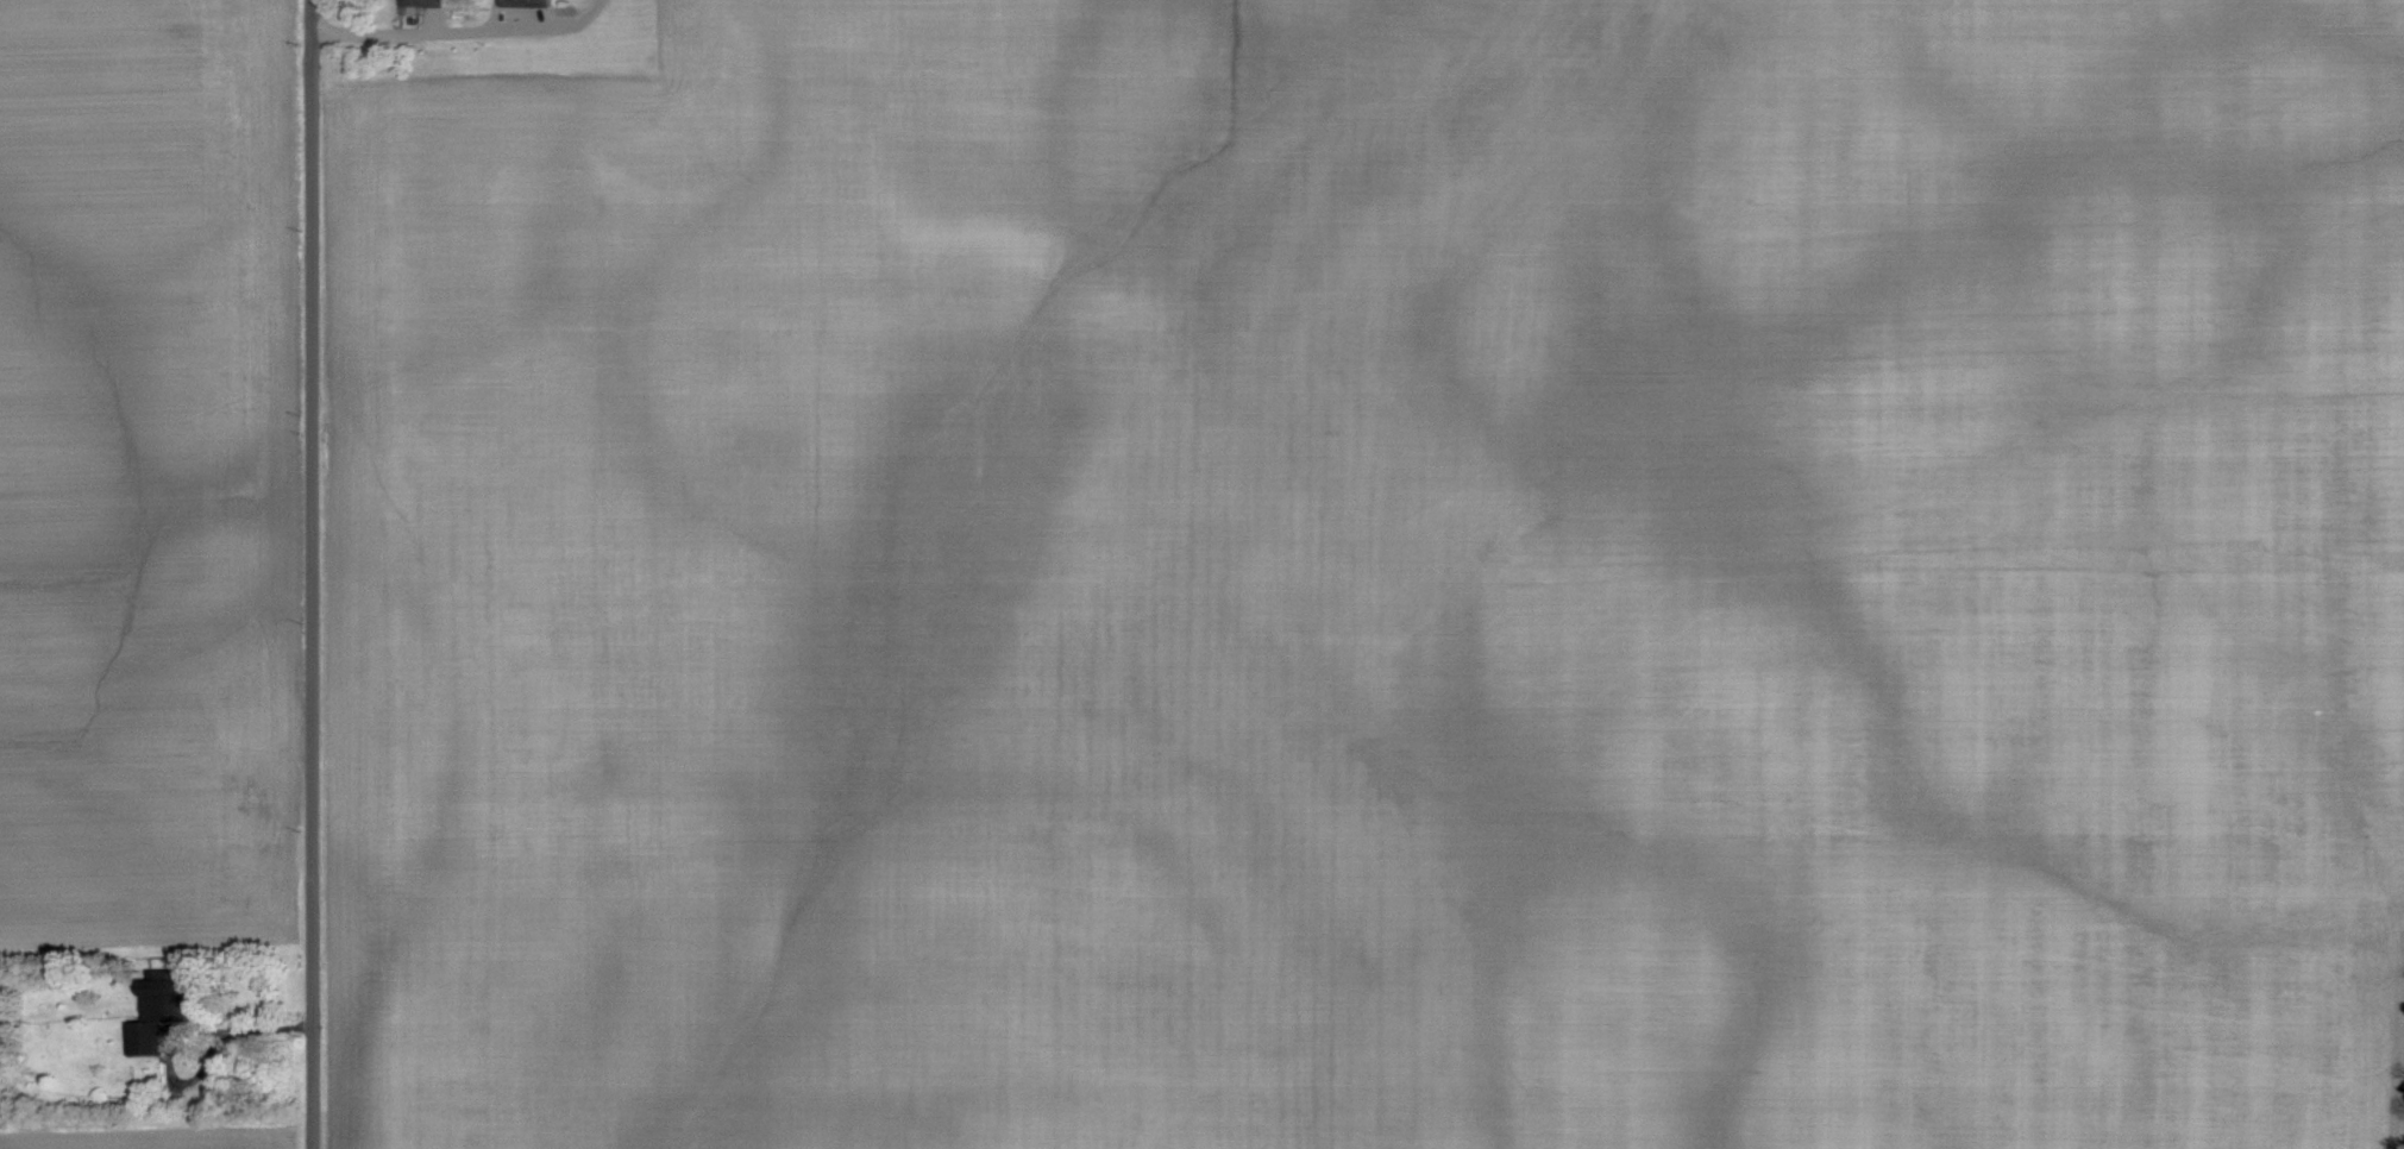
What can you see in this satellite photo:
building: (426, 2)
building: (526, 2)
road: (440, 30)
road: (310, 573)
building: (163, 1011)
road: (241, 1028)

